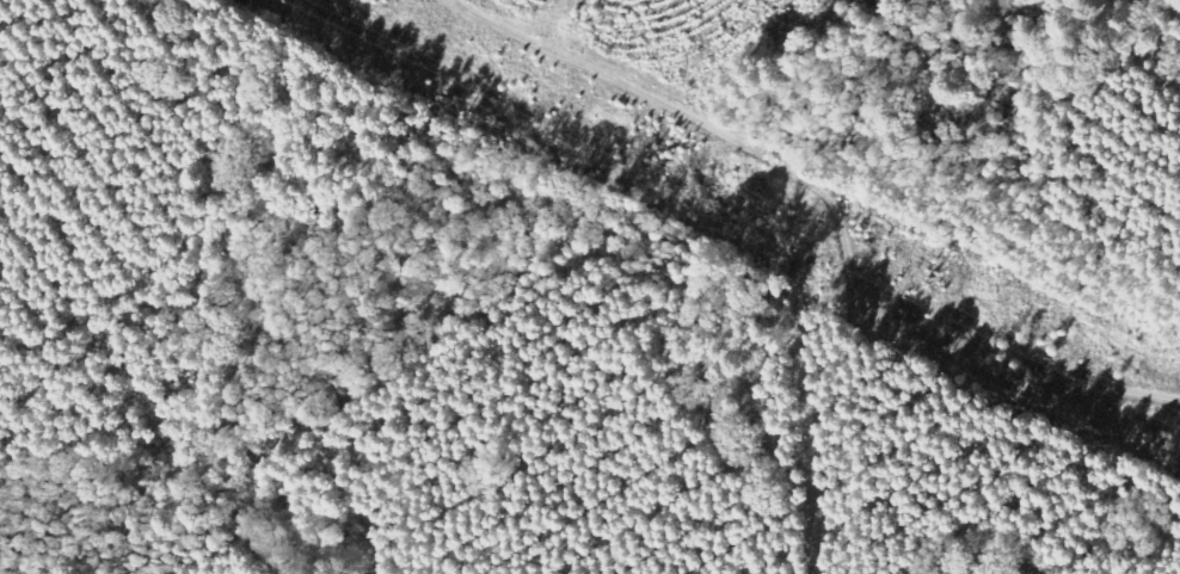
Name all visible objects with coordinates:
power tower: (930, 284)

